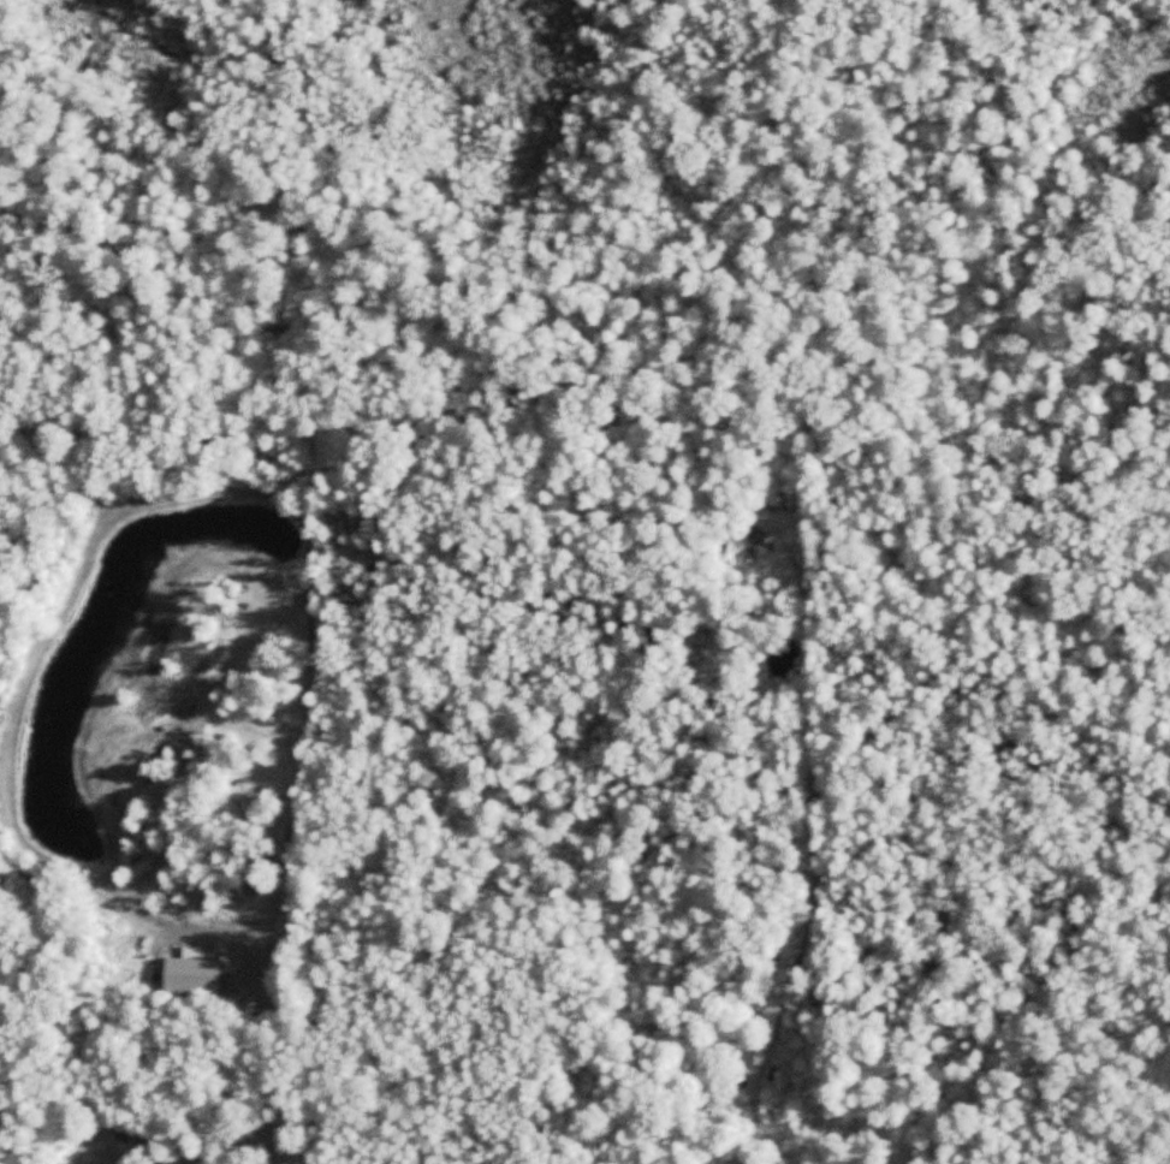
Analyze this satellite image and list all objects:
building: (191, 976)

